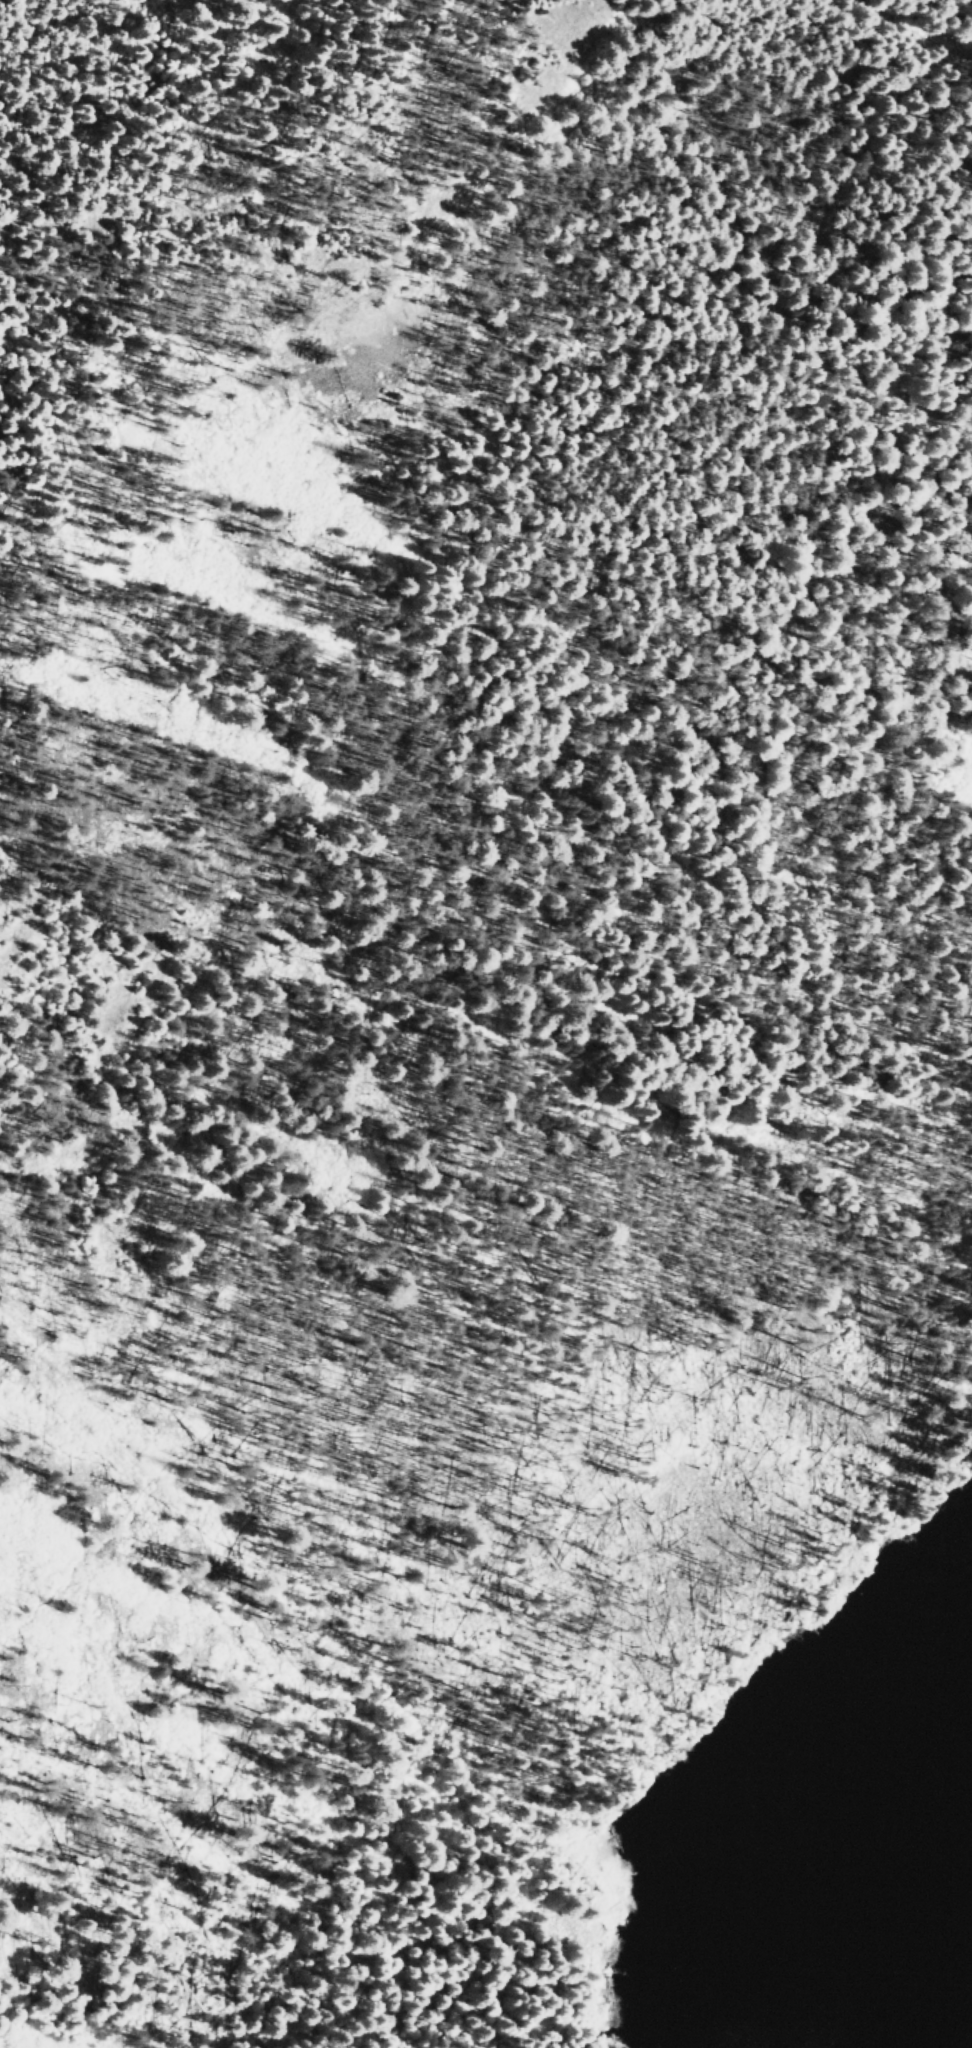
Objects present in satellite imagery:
road: (479, 1223)

